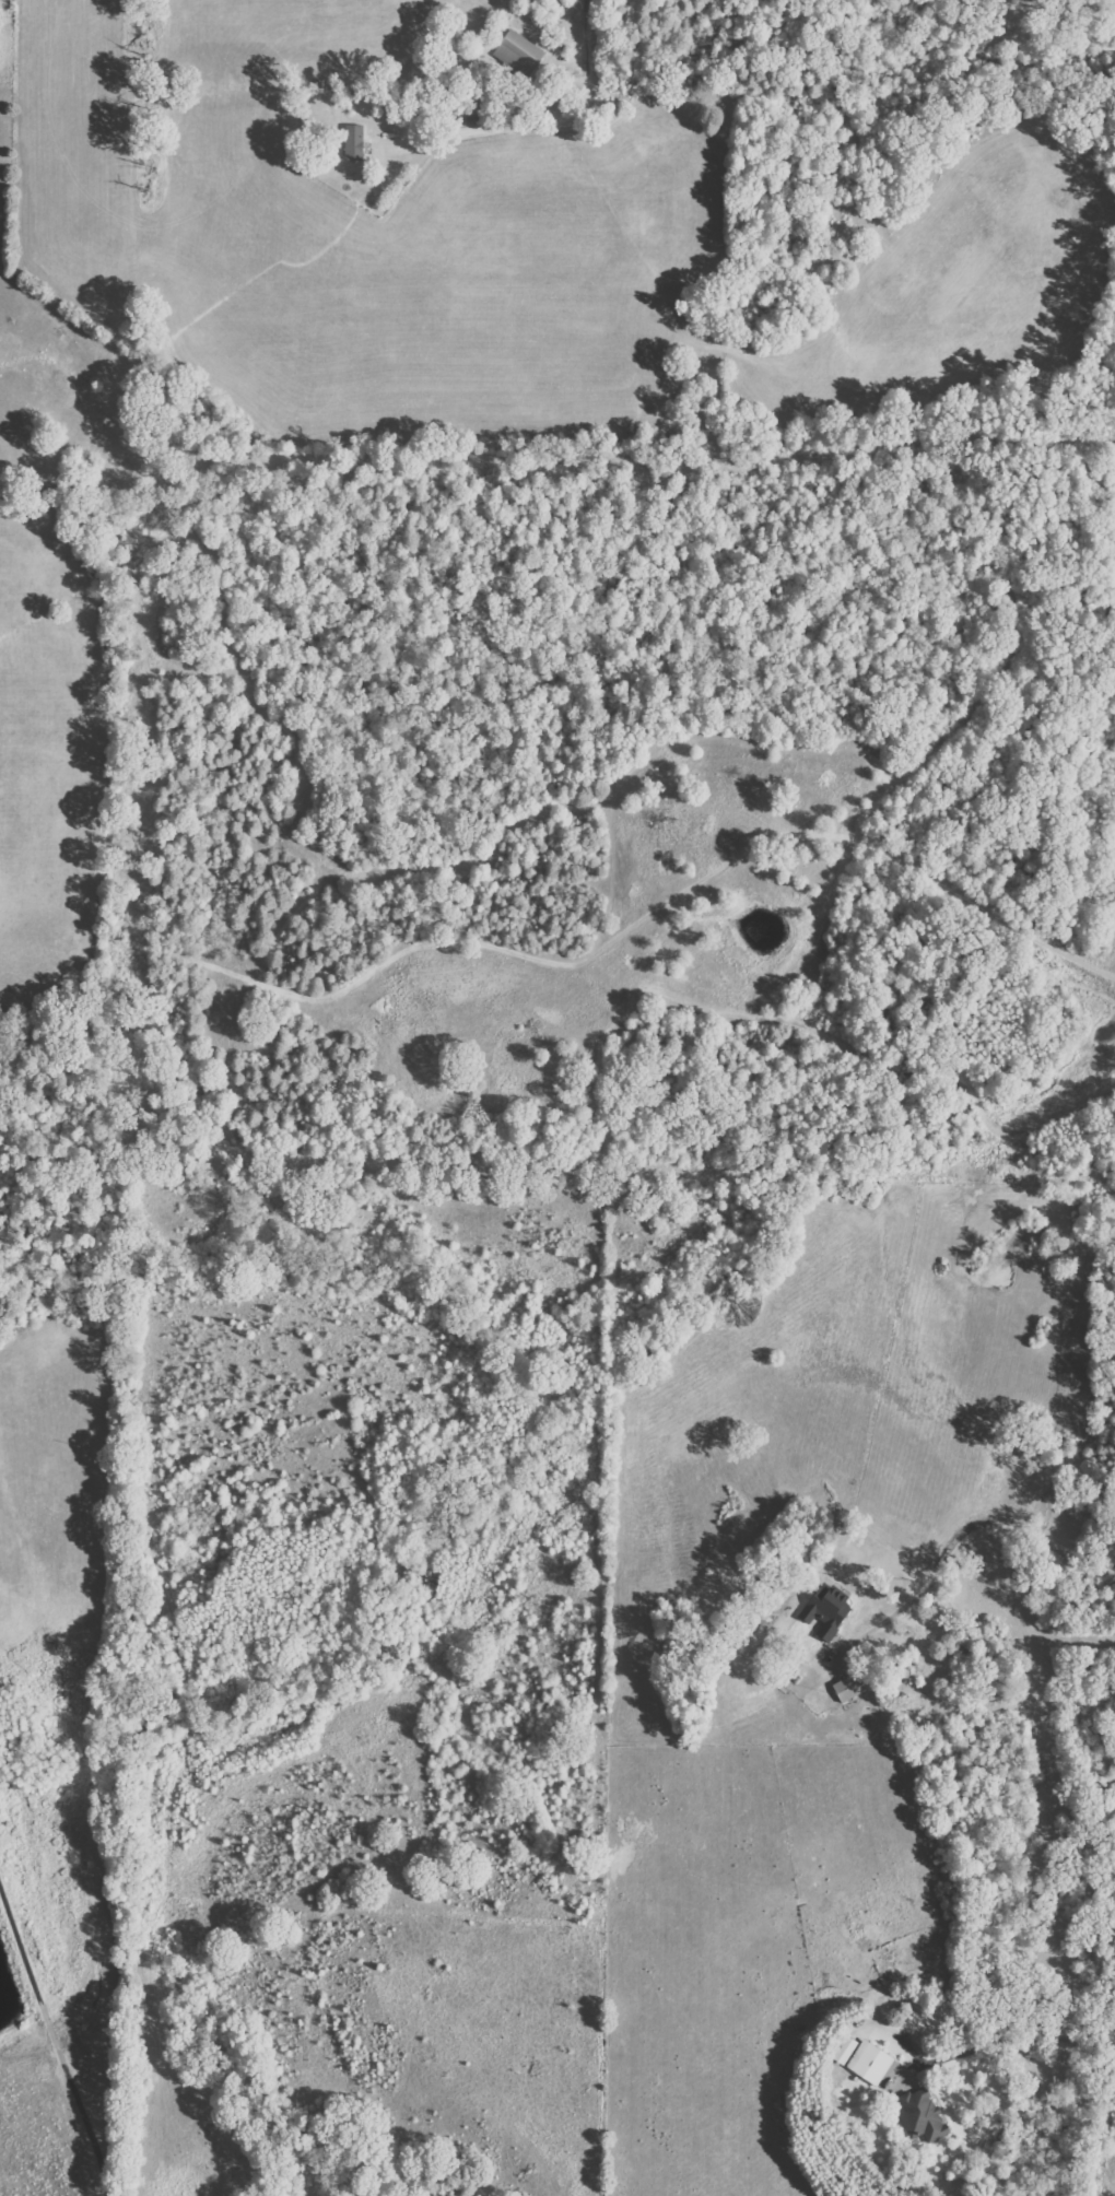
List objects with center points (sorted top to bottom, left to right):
road: (587, 28)
building: (519, 54)
road: (505, 125)
building: (355, 142)
road: (974, 1537)
building: (828, 1611)
building: (849, 1688)
road: (1013, 2038)
road: (54, 2044)
building: (846, 2048)
building: (871, 2062)
building: (923, 2114)

